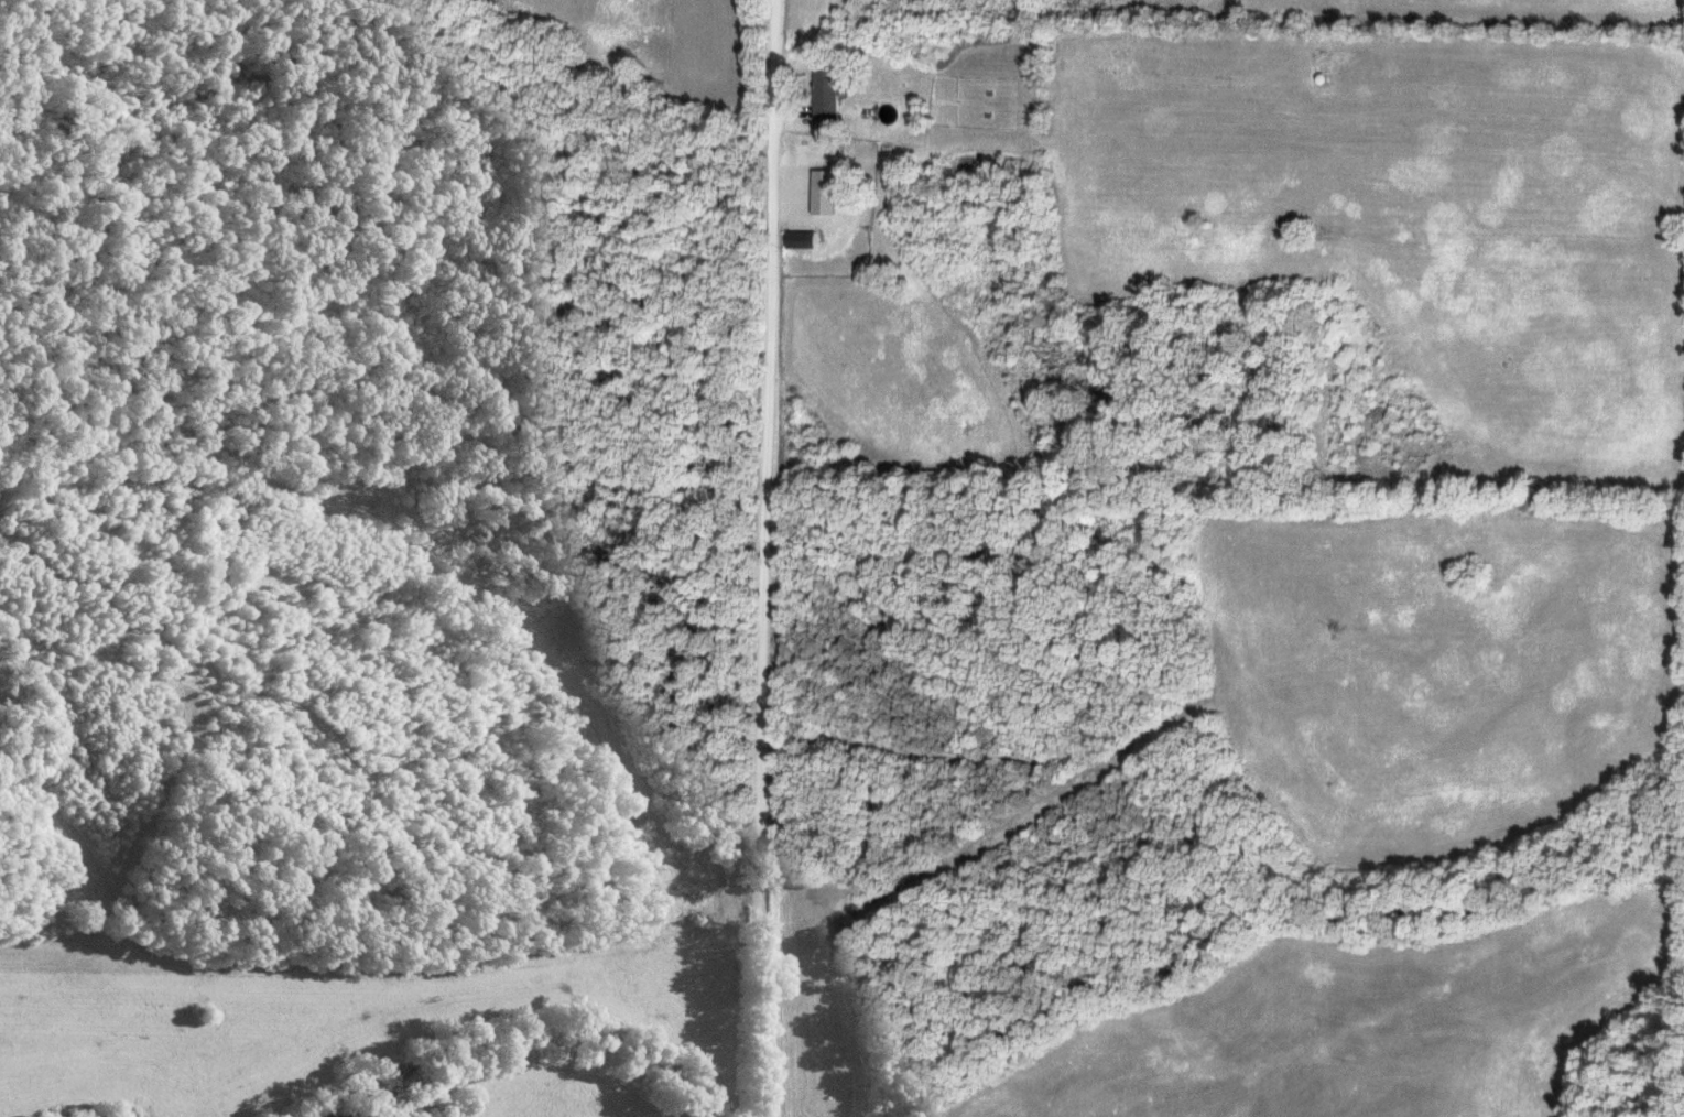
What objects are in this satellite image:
building: (832, 93)
building: (818, 202)
road: (760, 557)

